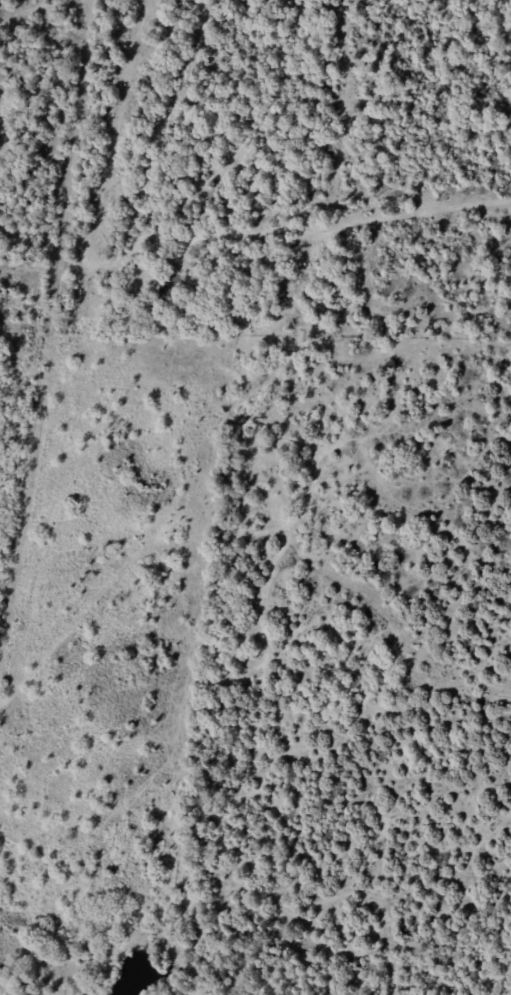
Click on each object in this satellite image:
road: (59, 366)
road: (4, 983)

